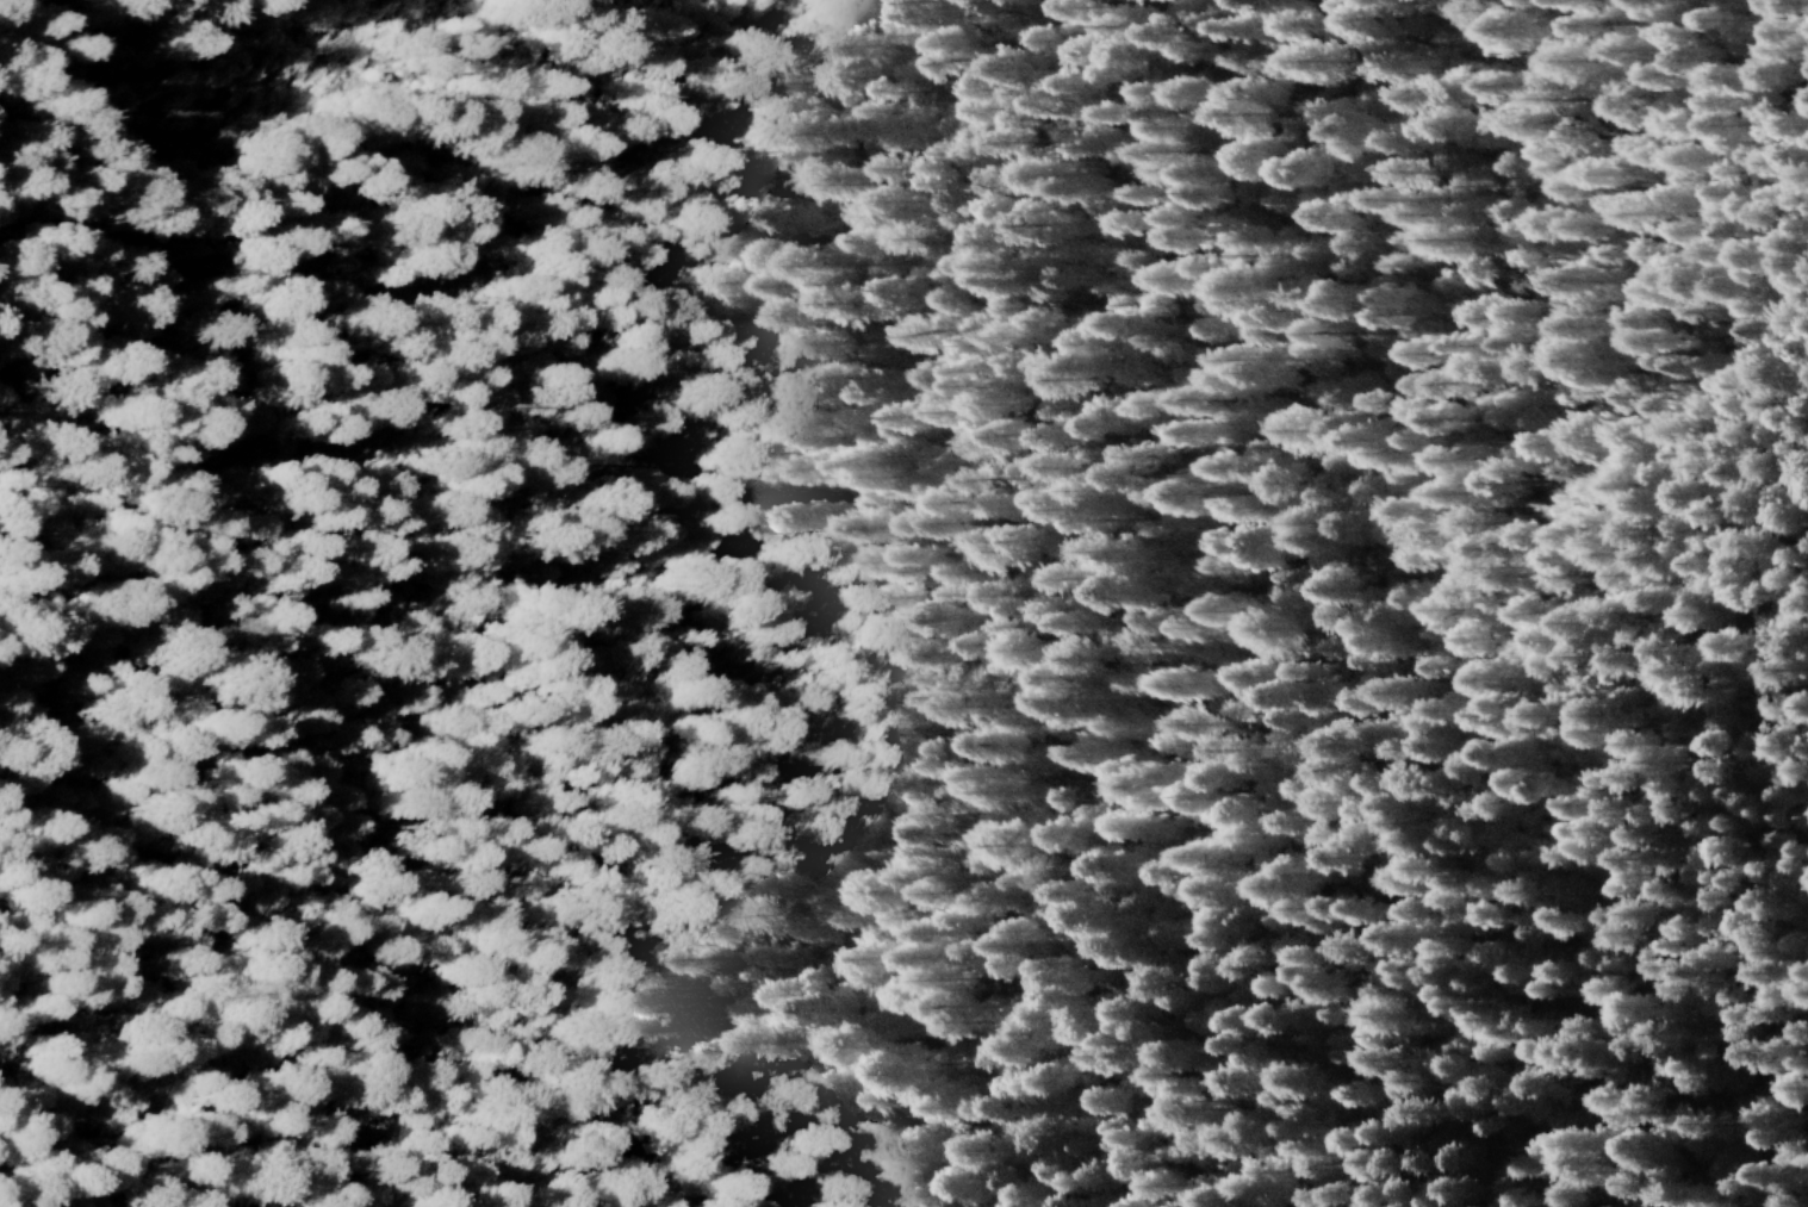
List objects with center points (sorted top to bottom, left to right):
road: (864, 330)
road: (62, 608)
road: (122, 654)

